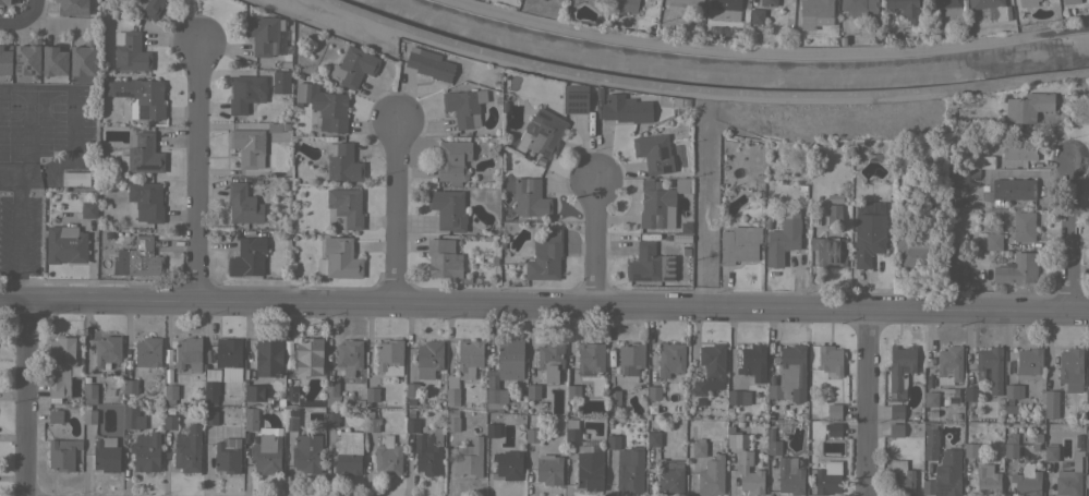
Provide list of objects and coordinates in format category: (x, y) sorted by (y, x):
building: (689, 1)
building: (1068, 1)
building: (4, 2)
building: (767, 2)
building: (1027, 3)
building: (626, 5)
building: (859, 5)
building: (71, 7)
building: (147, 7)
building: (945, 7)
building: (724, 9)
building: (905, 9)
building: (813, 12)
building: (1002, 14)
building: (757, 16)
road: (22, 19)
building: (263, 34)
building: (130, 51)
building: (26, 60)
building: (82, 60)
building: (52, 61)
building: (4, 62)
rooftop solar panel: (15, 63)
building: (429, 64)
building: (352, 66)
rooftop solar panel: (25, 68)
rooftop solar panel: (31, 72)
building: (280, 81)
road: (75, 87)
building: (245, 93)
road: (695, 93)
rooftop solar panel: (573, 96)
building: (147, 98)
building: (574, 99)
rooftop solar panel: (573, 105)
building: (1027, 107)
building: (327, 108)
building: (464, 108)
building: (626, 109)
rooftop solar panel: (574, 110)
rooftop solar panel: (539, 114)
rooftop solar panel: (545, 118)
rooftop solar panel: (540, 131)
building: (541, 133)
rooftop solar panel: (140, 140)
building: (247, 147)
rooftop solar panel: (133, 152)
rooftop solar panel: (663, 152)
building: (1018, 152)
building: (653, 153)
building: (142, 154)
rooftop solar panel: (135, 159)
building: (452, 160)
building: (980, 161)
building: (342, 162)
rooftop solar panel: (145, 166)
rooftop solar panel: (665, 168)
road: (197, 173)
building: (958, 178)
building: (75, 179)
building: (682, 185)
building: (1013, 189)
building: (530, 197)
building: (146, 201)
building: (243, 204)
building: (346, 206)
building: (654, 208)
building: (88, 209)
building: (448, 209)
road: (396, 211)
building: (834, 214)
building: (922, 216)
road: (19, 226)
building: (1024, 226)
road: (1069, 235)
building: (868, 238)
building: (782, 241)
building: (993, 241)
building: (65, 244)
building: (739, 244)
road: (595, 245)
building: (830, 251)
building: (916, 251)
building: (545, 256)
building: (247, 257)
building: (137, 258)
building: (339, 258)
rooftop solar panel: (669, 258)
building: (443, 261)
building: (650, 264)
rooftop solar panel: (669, 265)
building: (1016, 269)
rooftop solar panel: (669, 270)
building: (955, 274)
rooftop solar panel: (666, 278)
rooftop solar panel: (636, 279)
road: (544, 307)
building: (107, 350)
building: (148, 351)
building: (228, 352)
building: (189, 354)
building: (307, 355)
building: (590, 355)
building: (268, 356)
building: (348, 356)
building: (389, 356)
building: (469, 358)
building: (428, 359)
building: (510, 359)
building: (669, 359)
building: (830, 359)
building: (550, 360)
building: (630, 360)
building: (753, 362)
building: (1029, 363)
building: (948, 365)
building: (60, 366)
building: (991, 366)
building: (126, 367)
building: (711, 368)
building: (899, 370)
building: (1070, 370)
building: (789, 374)
building: (130, 386)
building: (210, 386)
building: (411, 389)
building: (451, 390)
building: (533, 390)
building: (1011, 390)
building: (572, 391)
building: (89, 392)
building: (170, 392)
building: (291, 392)
building: (653, 392)
building: (948, 392)
building: (331, 394)
building: (372, 394)
building: (970, 394)
building: (256, 395)
building: (1087, 395)
building: (613, 397)
building: (734, 397)
road: (25, 398)
building: (930, 399)
building: (494, 400)
road: (869, 402)
building: (1051, 403)
building: (834, 410)
building: (896, 411)
building: (932, 413)
building: (88, 414)
building: (55, 415)
building: (956, 415)
building: (132, 418)
building: (209, 418)
building: (250, 419)
building: (291, 419)
building: (330, 419)
building: (451, 420)
building: (169, 421)
building: (371, 422)
building: (412, 425)
building: (833, 428)
building: (492, 430)
building: (571, 430)
building: (895, 430)
building: (770, 434)
building: (532, 435)
building: (653, 438)
building: (1038, 438)
building: (1087, 441)
building: (930, 445)
building: (773, 447)
building: (698, 448)
building: (187, 449)
building: (970, 449)
building: (1011, 450)
building: (145, 451)
building: (1051, 451)
building: (306, 452)
building: (348, 452)
building: (428, 452)
building: (62, 453)
building: (266, 453)
building: (106, 455)
building: (388, 457)
building: (227, 458)
building: (469, 459)
building: (508, 464)
building: (627, 465)
building: (746, 468)
building: (548, 469)
building: (590, 469)
building: (947, 473)
building: (711, 475)
building: (668, 476)
building: (789, 476)
building: (899, 480)
building: (987, 480)
building: (1026, 481)
building: (1087, 481)
building: (826, 482)
building: (1067, 483)
rooftop solar panel: (942, 491)

